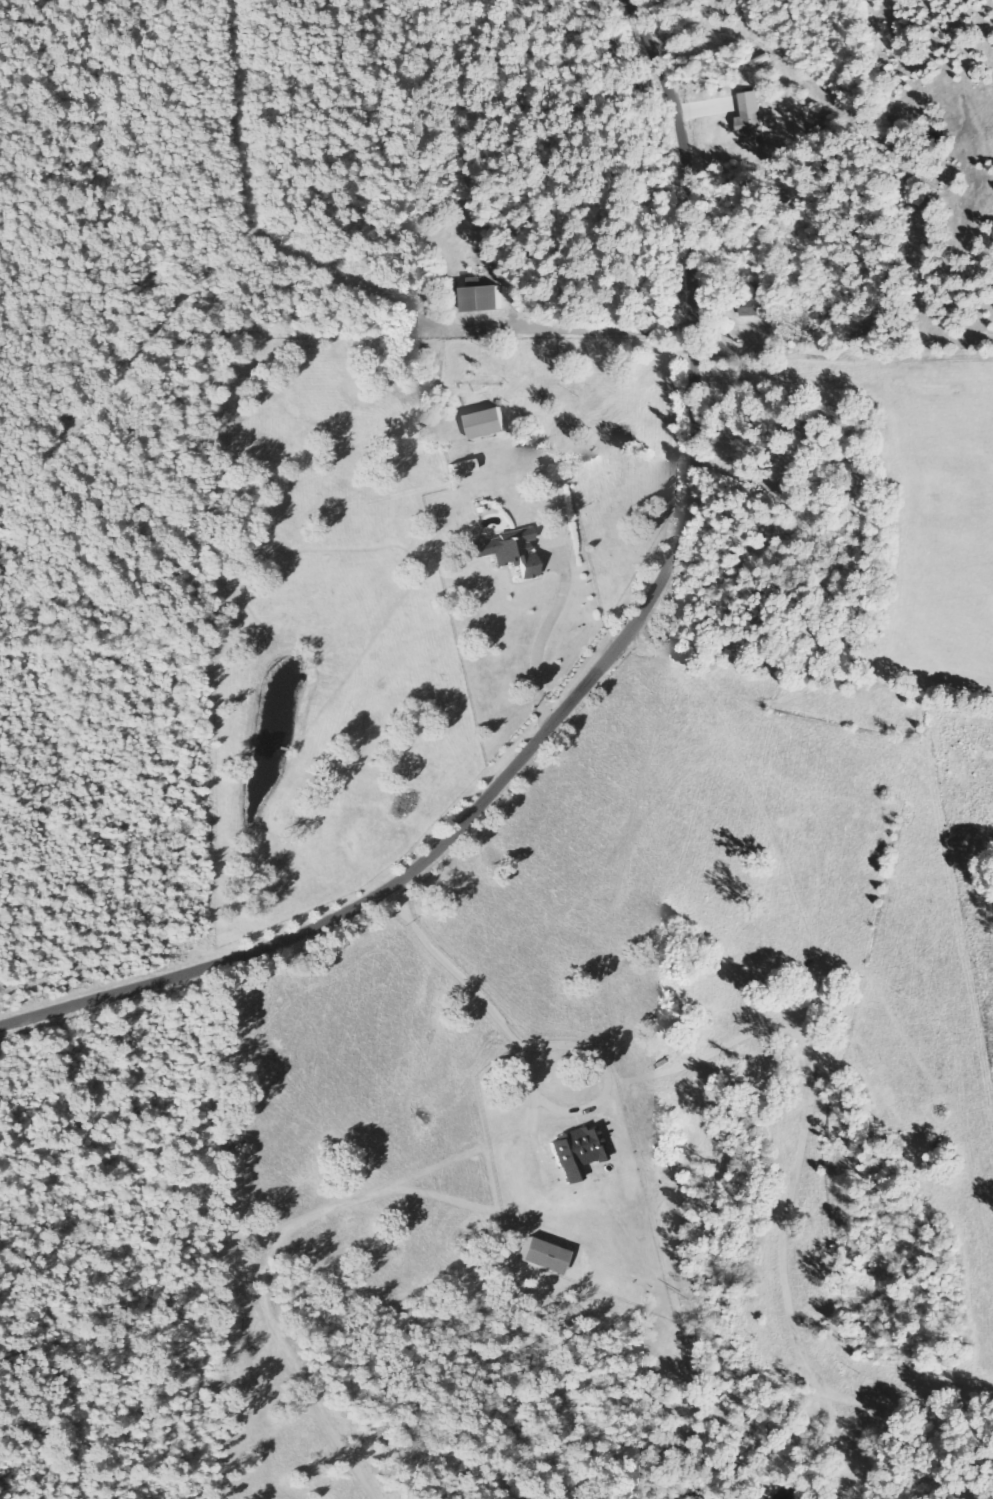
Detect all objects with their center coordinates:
building: (753, 120)
building: (484, 299)
building: (751, 308)
building: (488, 424)
building: (463, 469)
building: (510, 553)
road: (595, 674)
building: (578, 1151)
building: (545, 1256)
road: (945, 1405)

